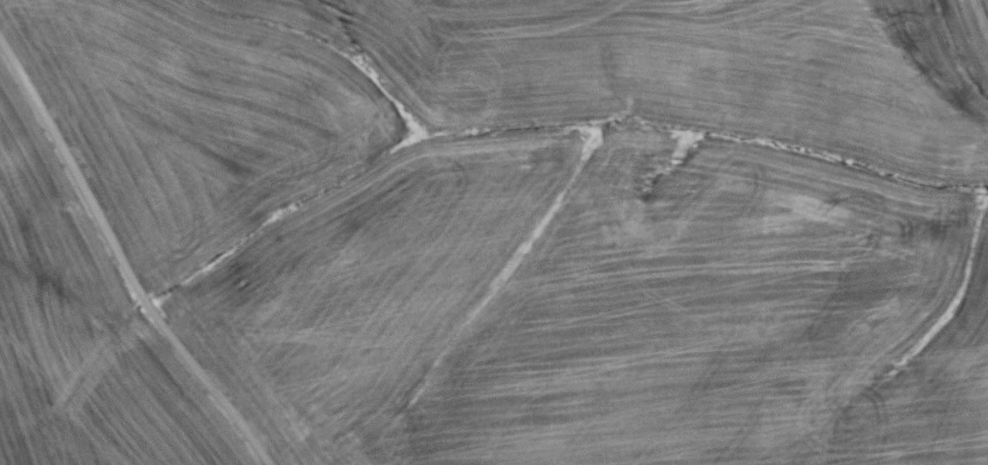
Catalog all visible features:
road: (121, 260)

